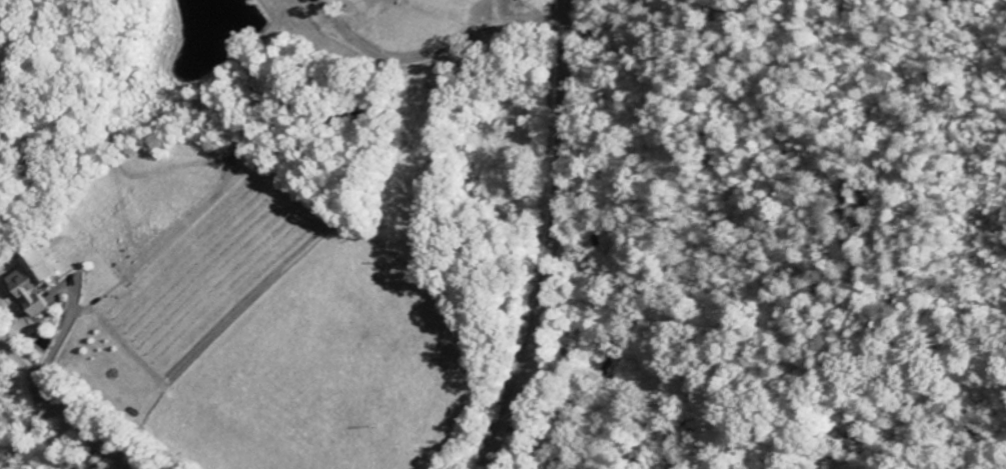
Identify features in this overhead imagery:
road: (391, 17)
road: (555, 239)
building: (37, 280)

